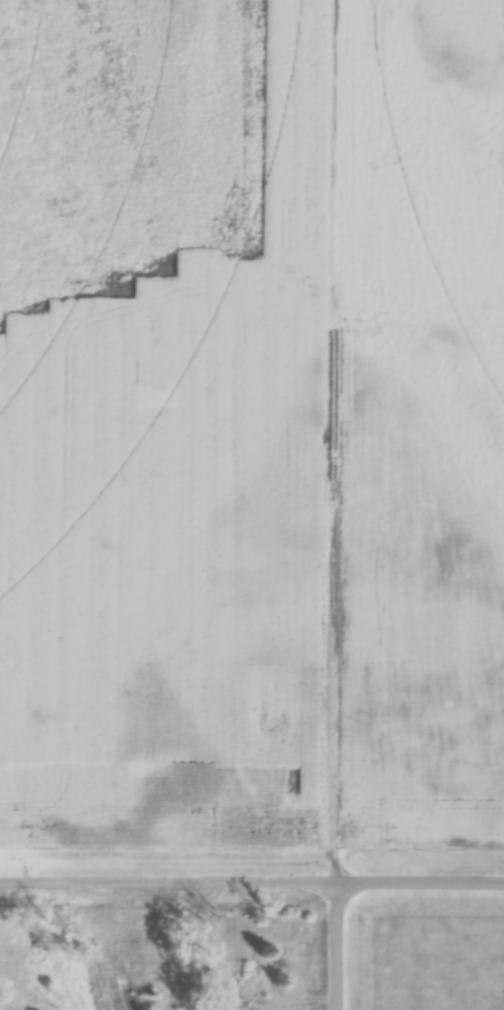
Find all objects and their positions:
road: (251, 886)
road: (336, 949)

